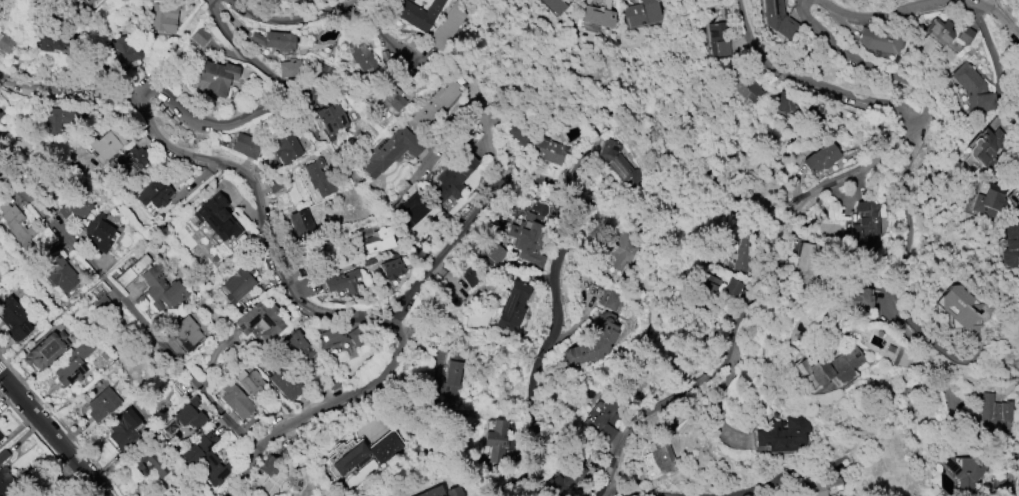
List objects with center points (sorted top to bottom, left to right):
building: (411, 0)
building: (0, 1)
building: (290, 1)
building: (87, 2)
building: (555, 5)
road: (330, 10)
road: (881, 12)
building: (417, 13)
building: (641, 13)
building: (596, 14)
building: (164, 17)
building: (775, 18)
road: (994, 22)
building: (446, 25)
building: (940, 31)
building: (963, 34)
building: (199, 36)
building: (274, 40)
building: (879, 40)
road: (988, 40)
building: (716, 41)
building: (10, 43)
building: (49, 44)
building: (122, 50)
building: (360, 54)
building: (752, 65)
road: (877, 68)
building: (289, 69)
building: (214, 77)
road: (817, 84)
building: (973, 86)
building: (737, 87)
road: (131, 97)
building: (391, 97)
building: (440, 98)
building: (783, 101)
building: (816, 104)
building: (801, 105)
building: (0, 112)
road: (263, 112)
building: (57, 119)
building: (331, 119)
building: (535, 142)
building: (104, 144)
building: (245, 145)
building: (990, 145)
building: (287, 148)
building: (391, 150)
building: (138, 154)
building: (820, 158)
building: (615, 160)
building: (454, 177)
building: (316, 179)
building: (274, 184)
building: (154, 192)
building: (984, 200)
building: (75, 206)
building: (411, 208)
building: (215, 219)
building: (300, 223)
building: (865, 223)
building: (16, 225)
road: (914, 227)
road: (574, 230)
building: (99, 233)
building: (378, 240)
building: (528, 243)
building: (1006, 247)
building: (621, 250)
building: (739, 250)
building: (495, 253)
building: (807, 262)
road: (117, 265)
building: (391, 267)
building: (59, 270)
building: (133, 270)
building: (470, 276)
road: (286, 277)
building: (342, 282)
building: (161, 286)
building: (732, 287)
building: (238, 288)
building: (706, 290)
building: (610, 299)
building: (860, 299)
building: (102, 305)
building: (956, 305)
building: (512, 306)
road: (749, 307)
road: (132, 308)
building: (14, 320)
building: (260, 320)
building: (185, 334)
building: (329, 334)
building: (594, 340)
building: (295, 345)
building: (46, 350)
building: (74, 363)
building: (831, 365)
road: (932, 367)
building: (449, 380)
building: (250, 381)
building: (285, 382)
building: (470, 398)
building: (235, 401)
building: (102, 404)
road: (323, 410)
building: (992, 413)
building: (182, 418)
building: (604, 420)
building: (124, 430)
building: (781, 433)
road: (46, 435)
building: (0, 437)
building: (497, 440)
building: (363, 453)
building: (206, 459)
building: (660, 459)
road: (1016, 461)
building: (5, 464)
building: (148, 464)
building: (269, 468)
building: (961, 471)
road: (805, 478)
building: (564, 480)
road: (1011, 480)
building: (4, 486)
building: (822, 488)
building: (453, 491)
building: (31, 492)
building: (432, 492)
road: (626, 495)

